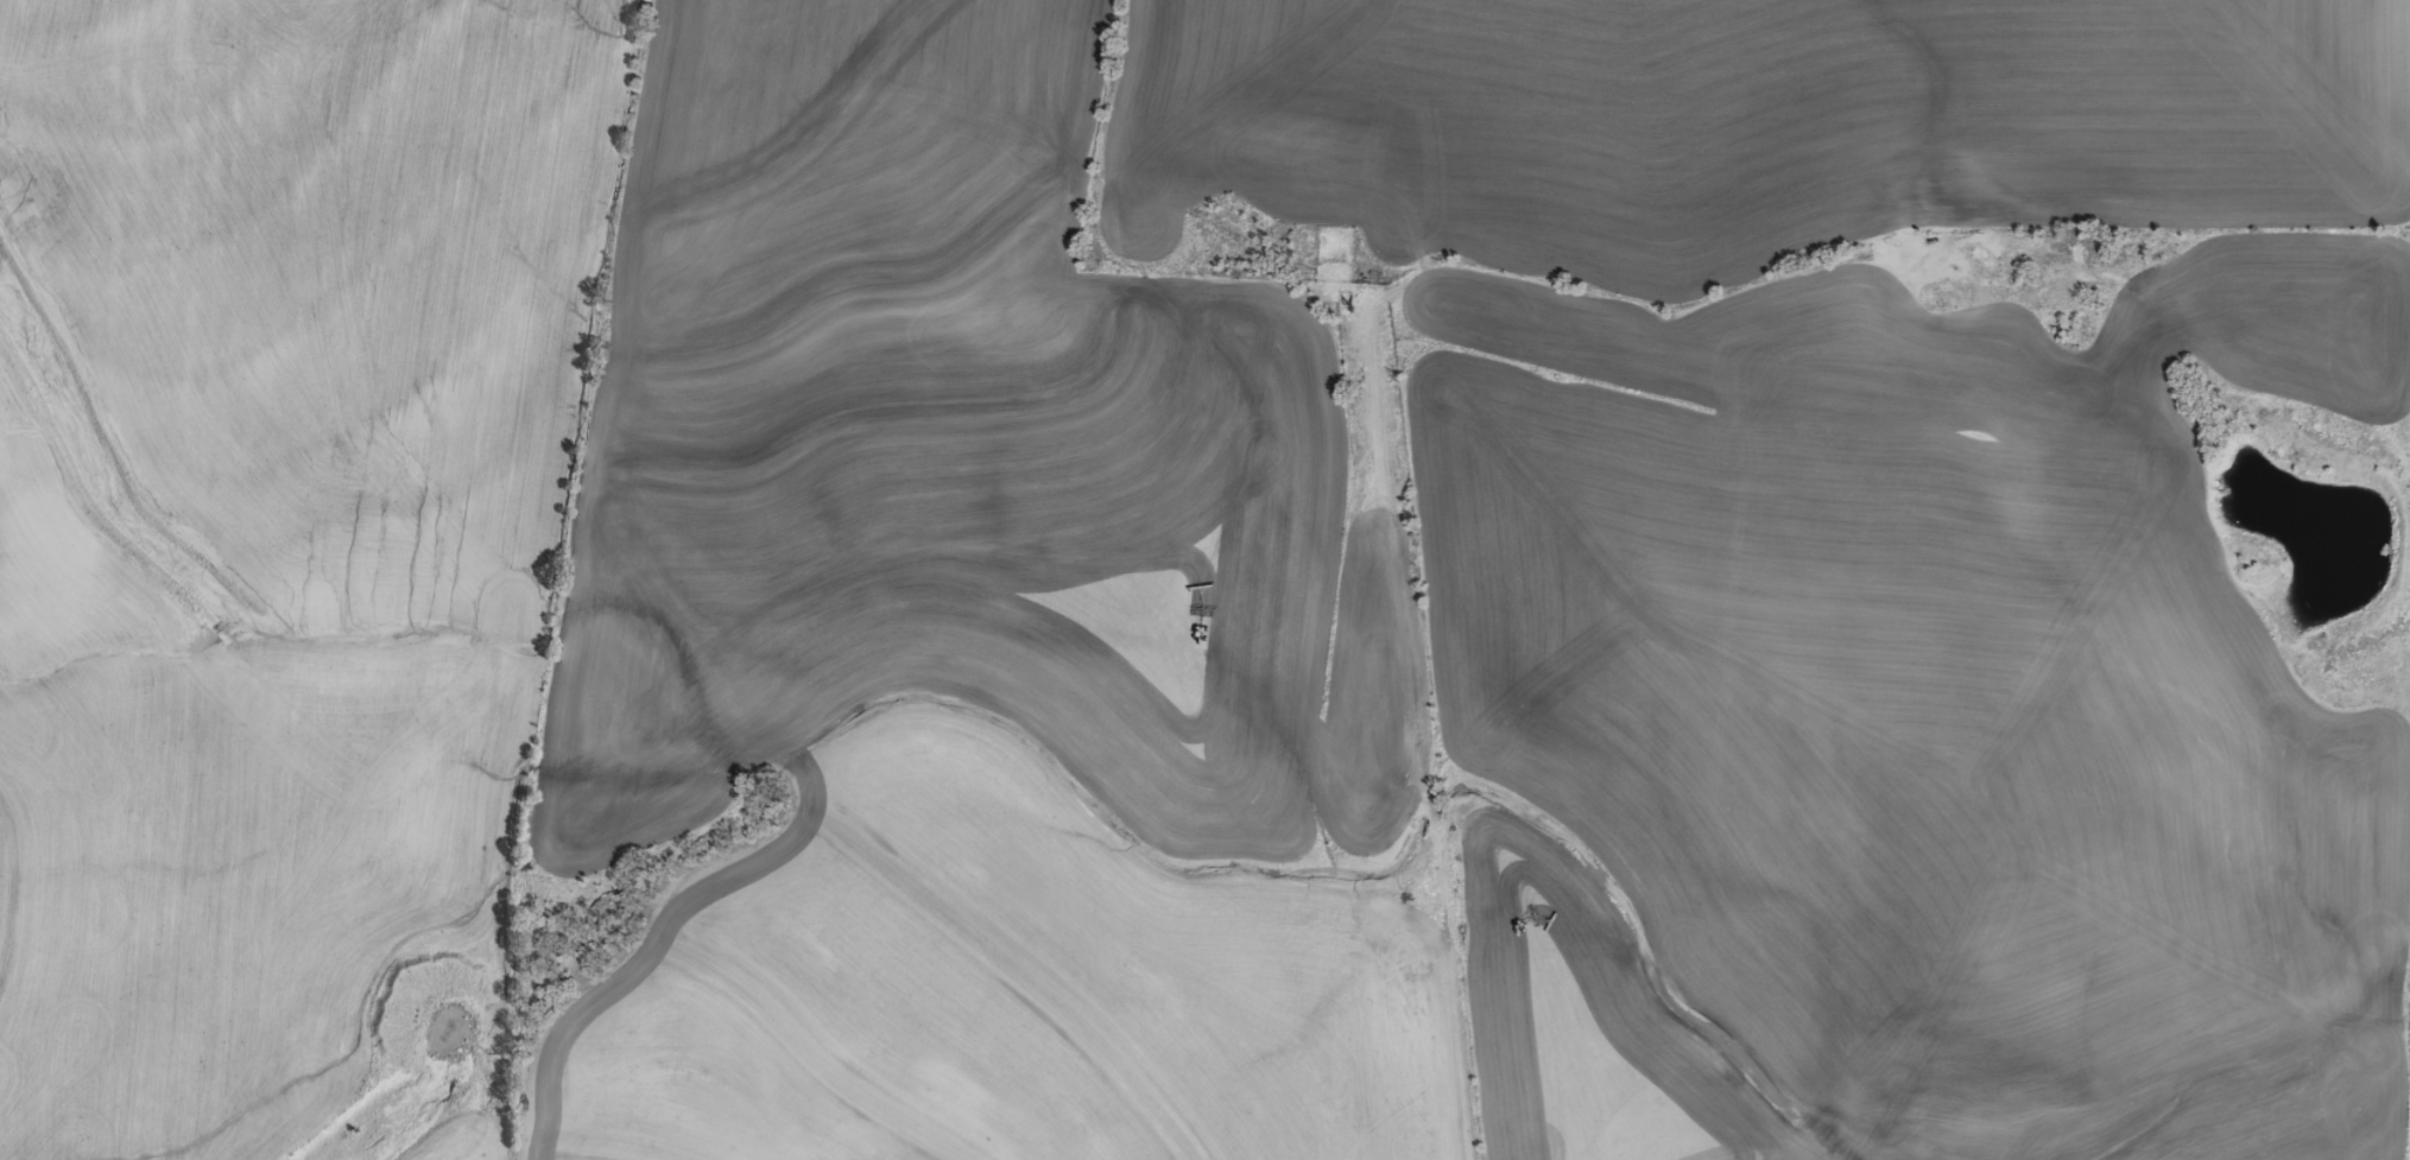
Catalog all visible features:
road: (1396, 456)

